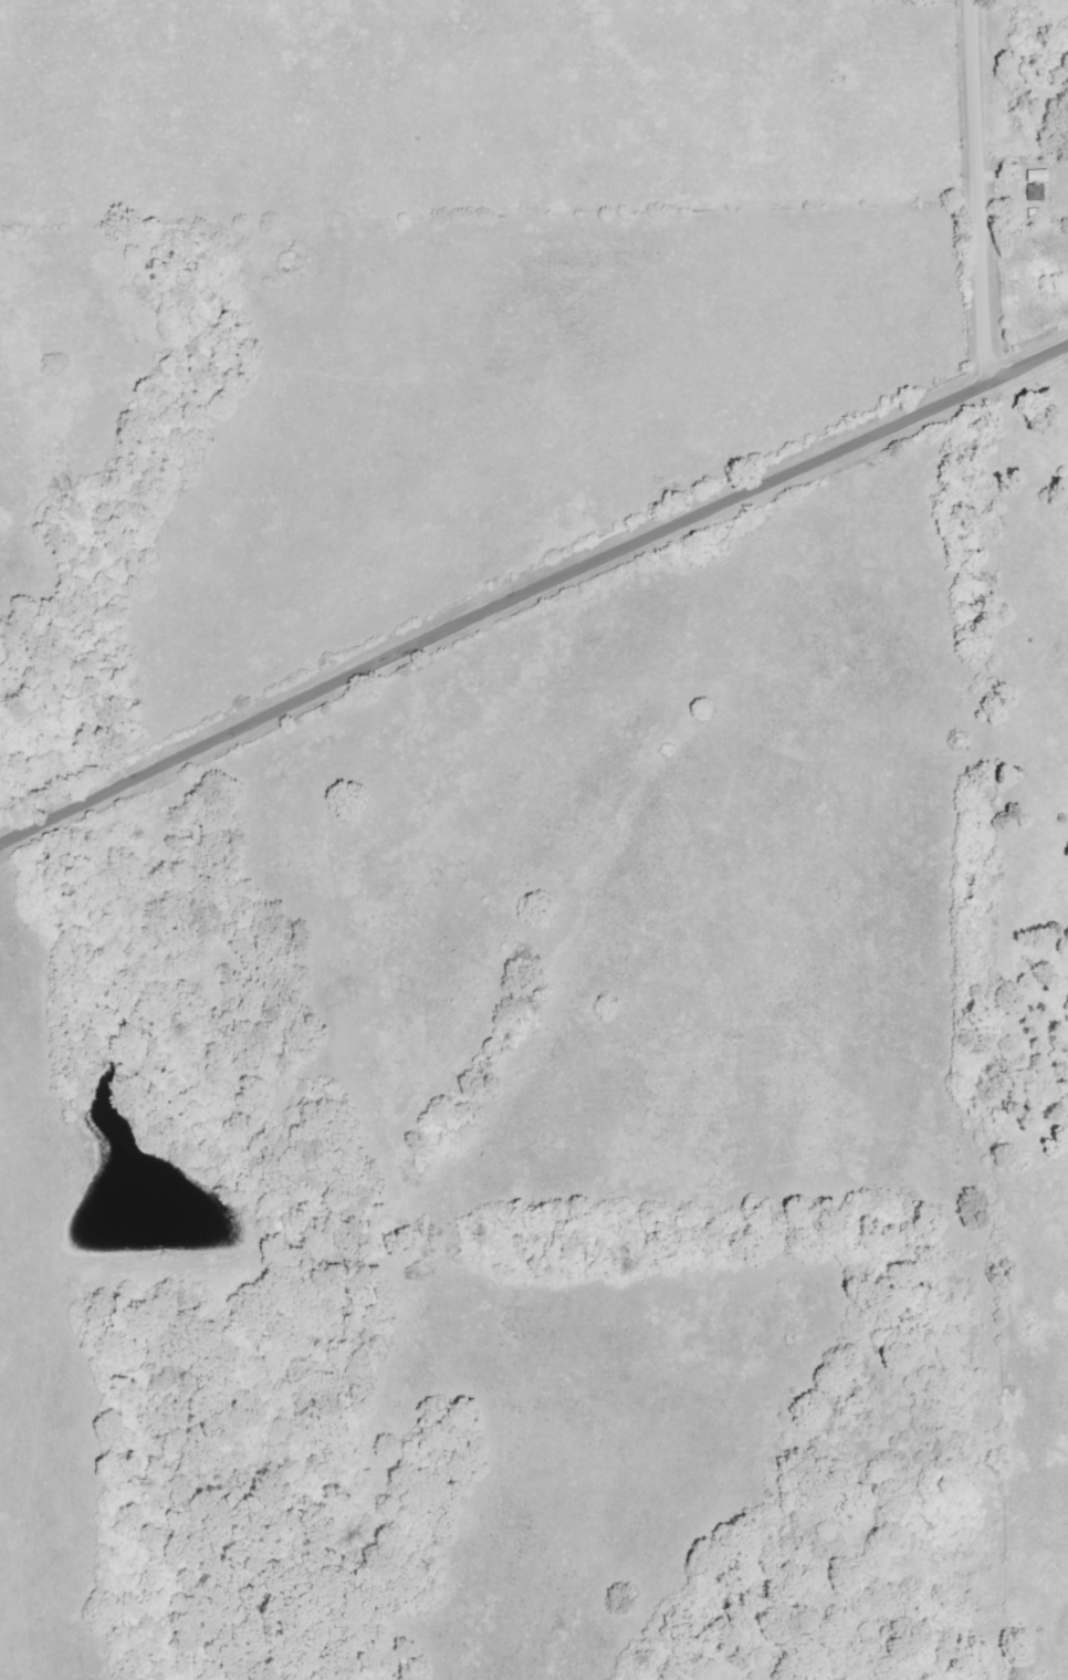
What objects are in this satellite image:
building: (1039, 185)
road: (976, 191)
road: (533, 603)

